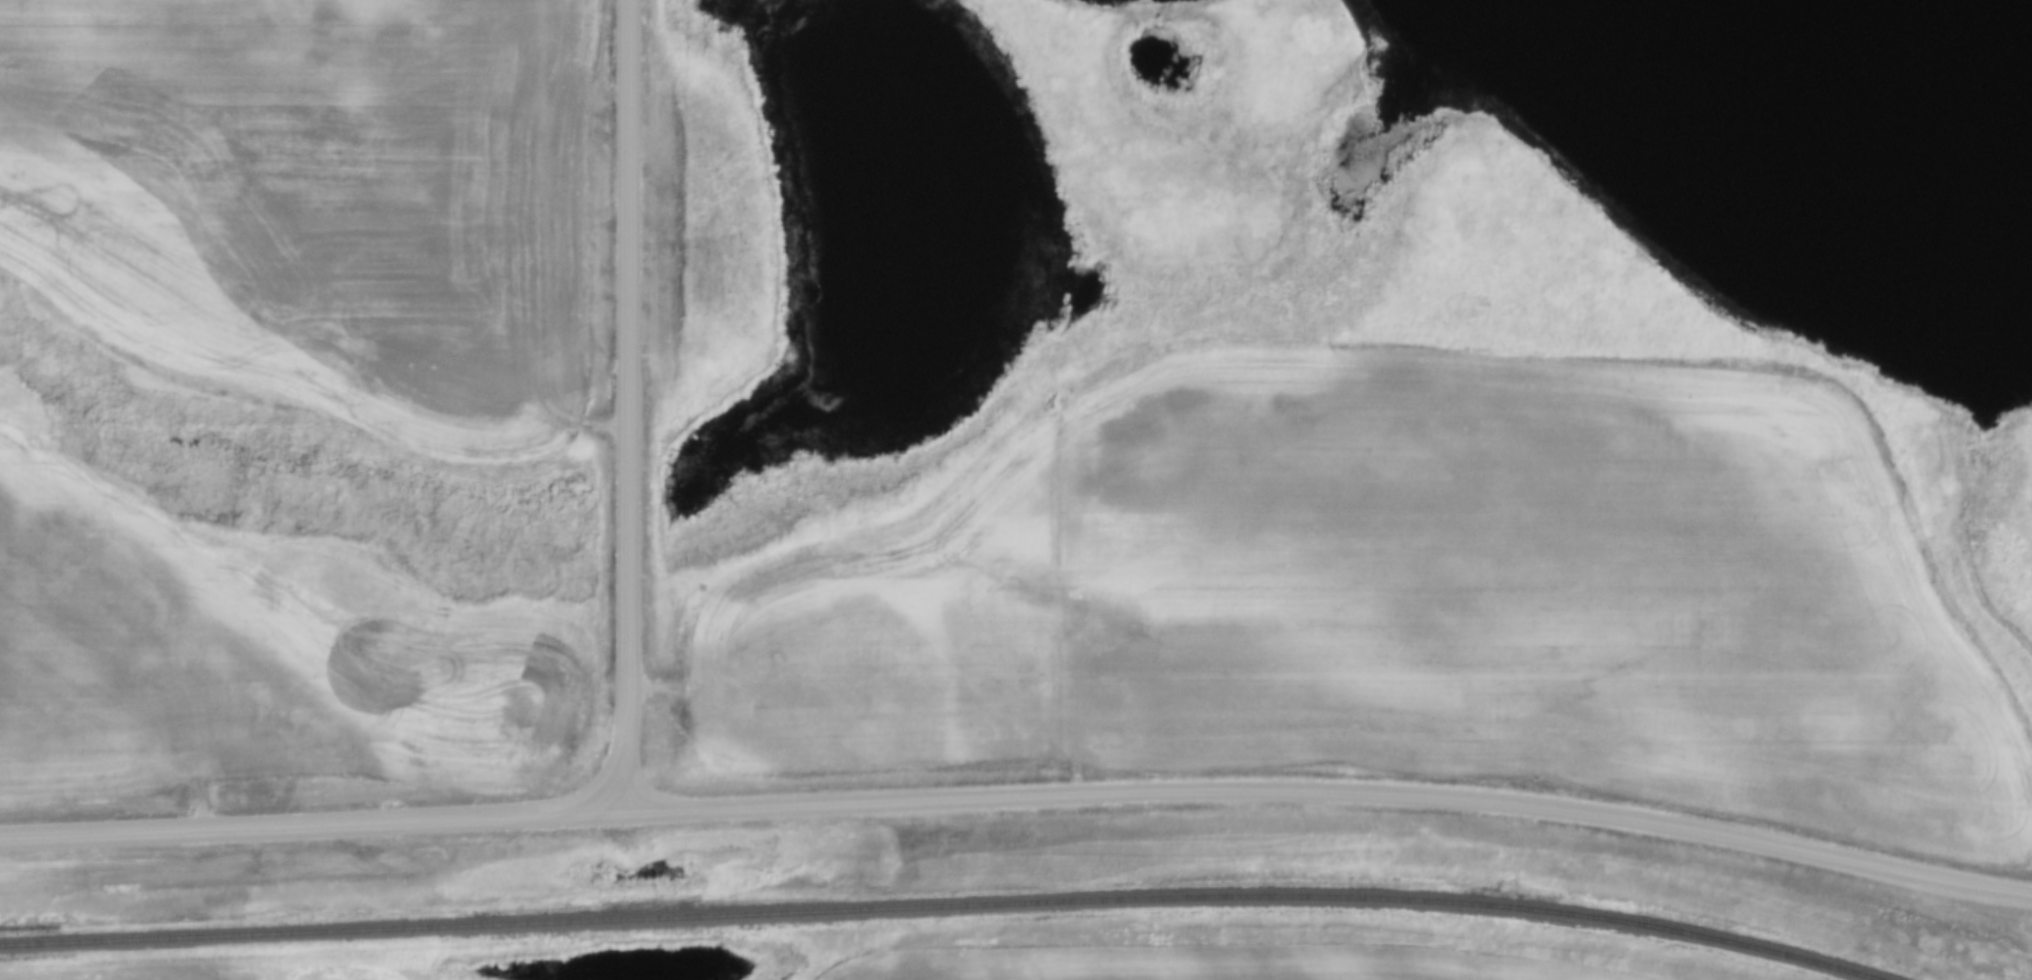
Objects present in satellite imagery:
road: (628, 404)
road: (1330, 787)
road: (310, 821)
railway: (941, 907)

